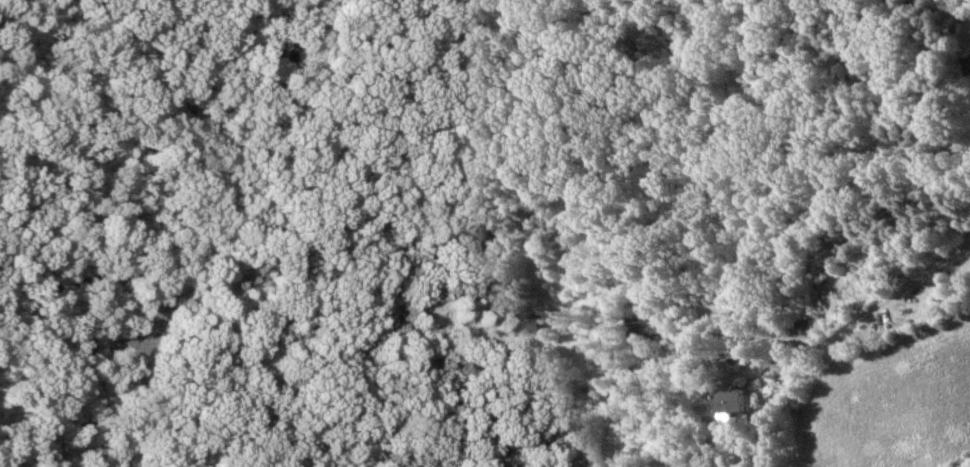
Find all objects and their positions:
building: (967, 64)
building: (528, 325)
building: (649, 328)
road: (804, 339)
building: (742, 401)

